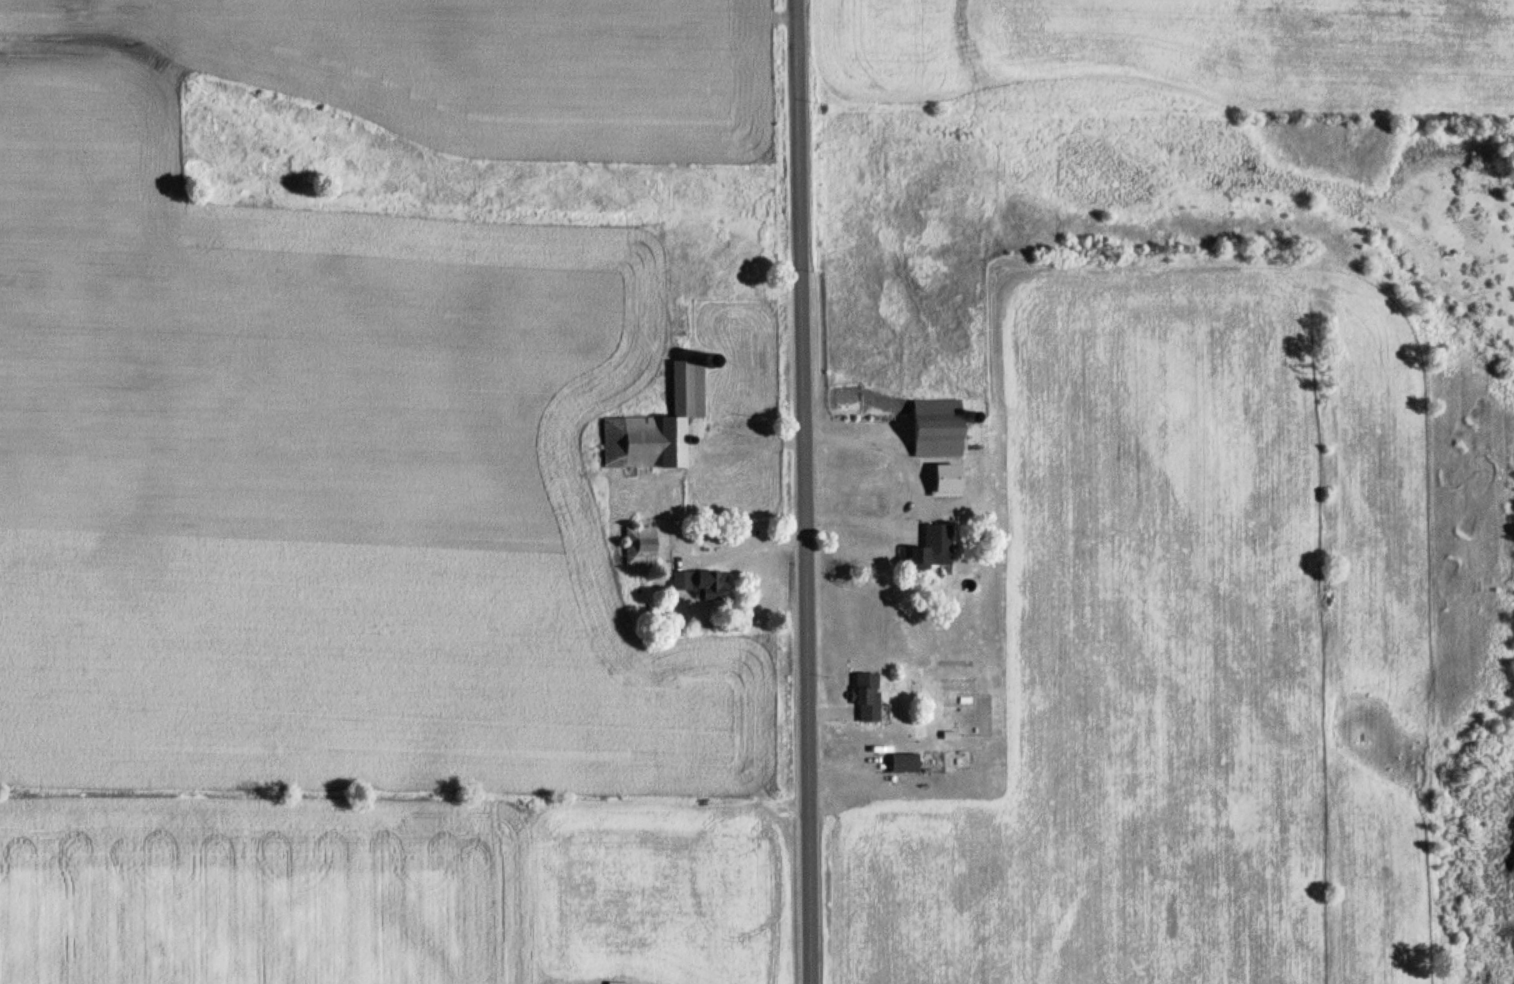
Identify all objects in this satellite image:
building: (656, 426)
building: (937, 427)
road: (803, 492)
building: (640, 546)
building: (931, 549)
building: (701, 584)
building: (868, 697)
building: (900, 763)

